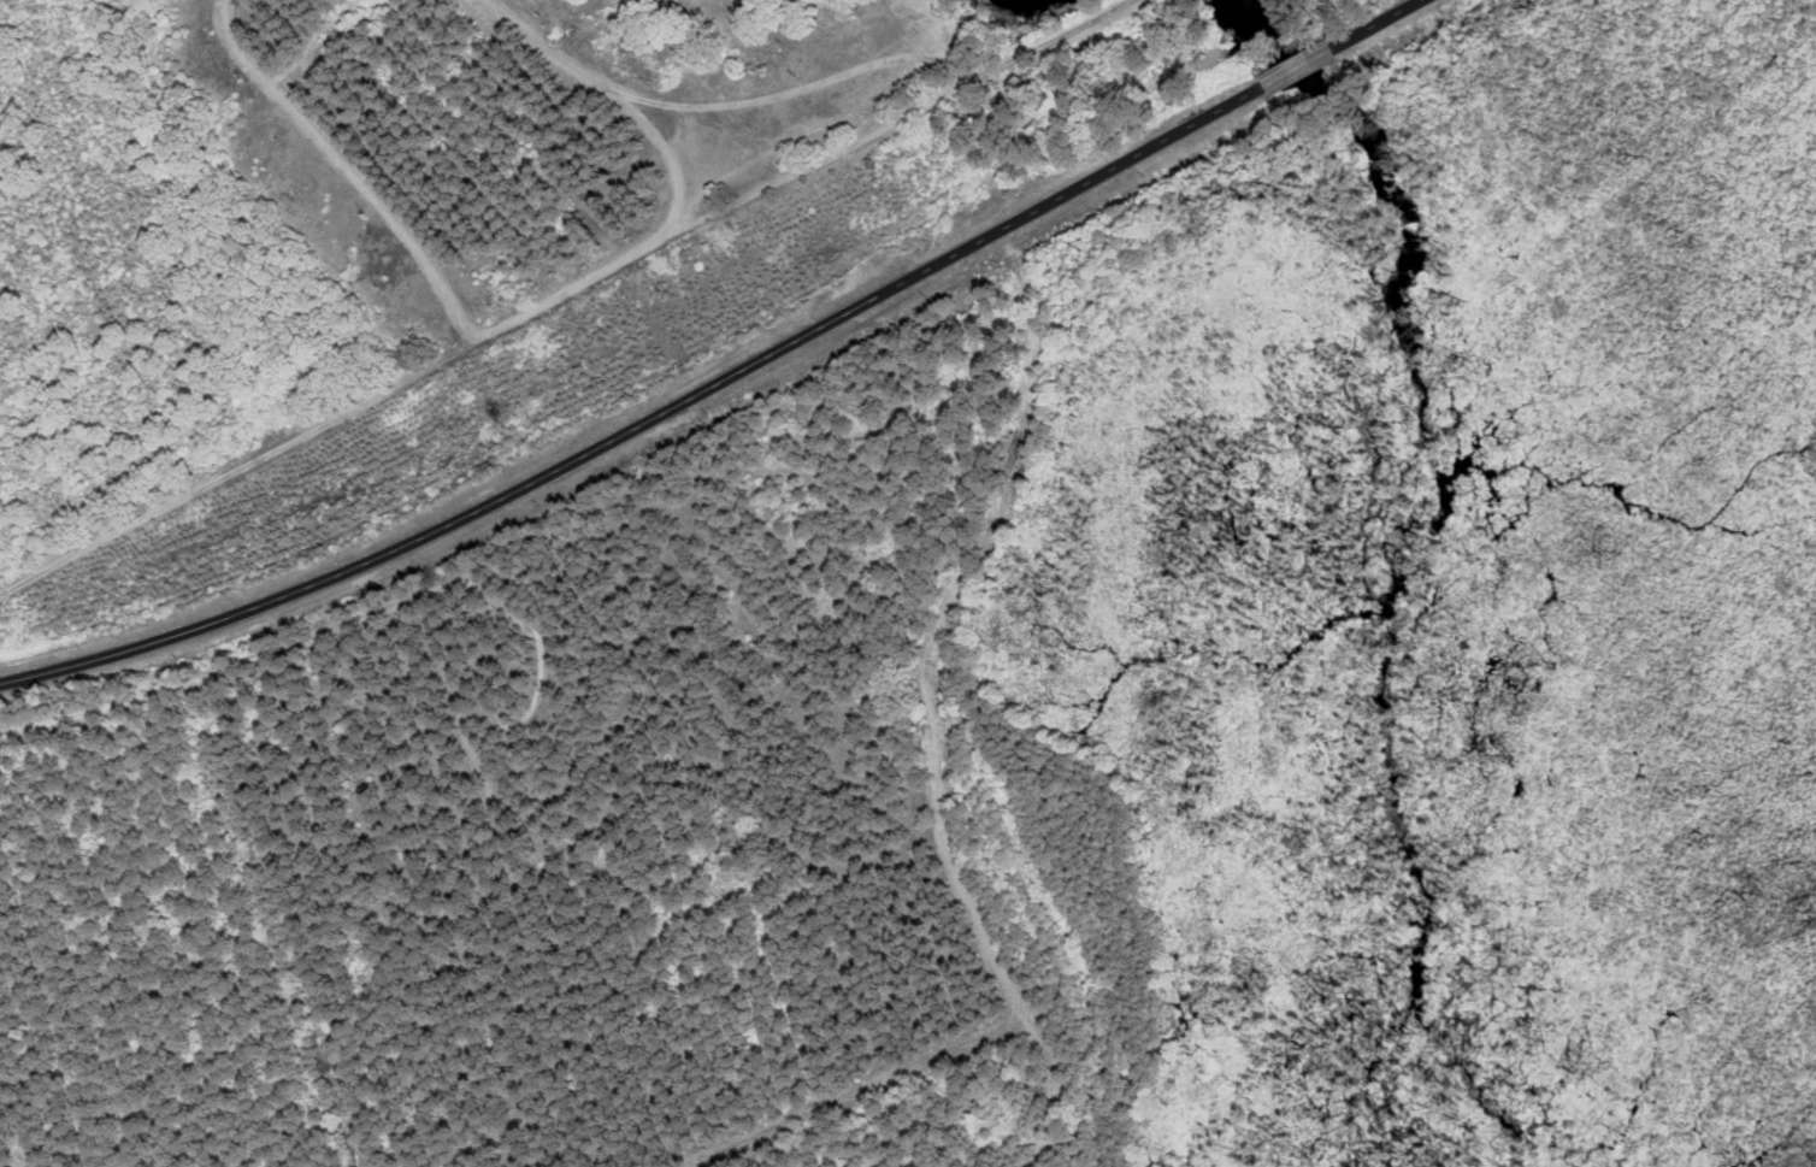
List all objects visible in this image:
road: (1376, 23)
road: (1038, 45)
road: (252, 51)
road: (1299, 66)
road: (614, 100)
road: (396, 213)
road: (478, 340)
road: (647, 419)

